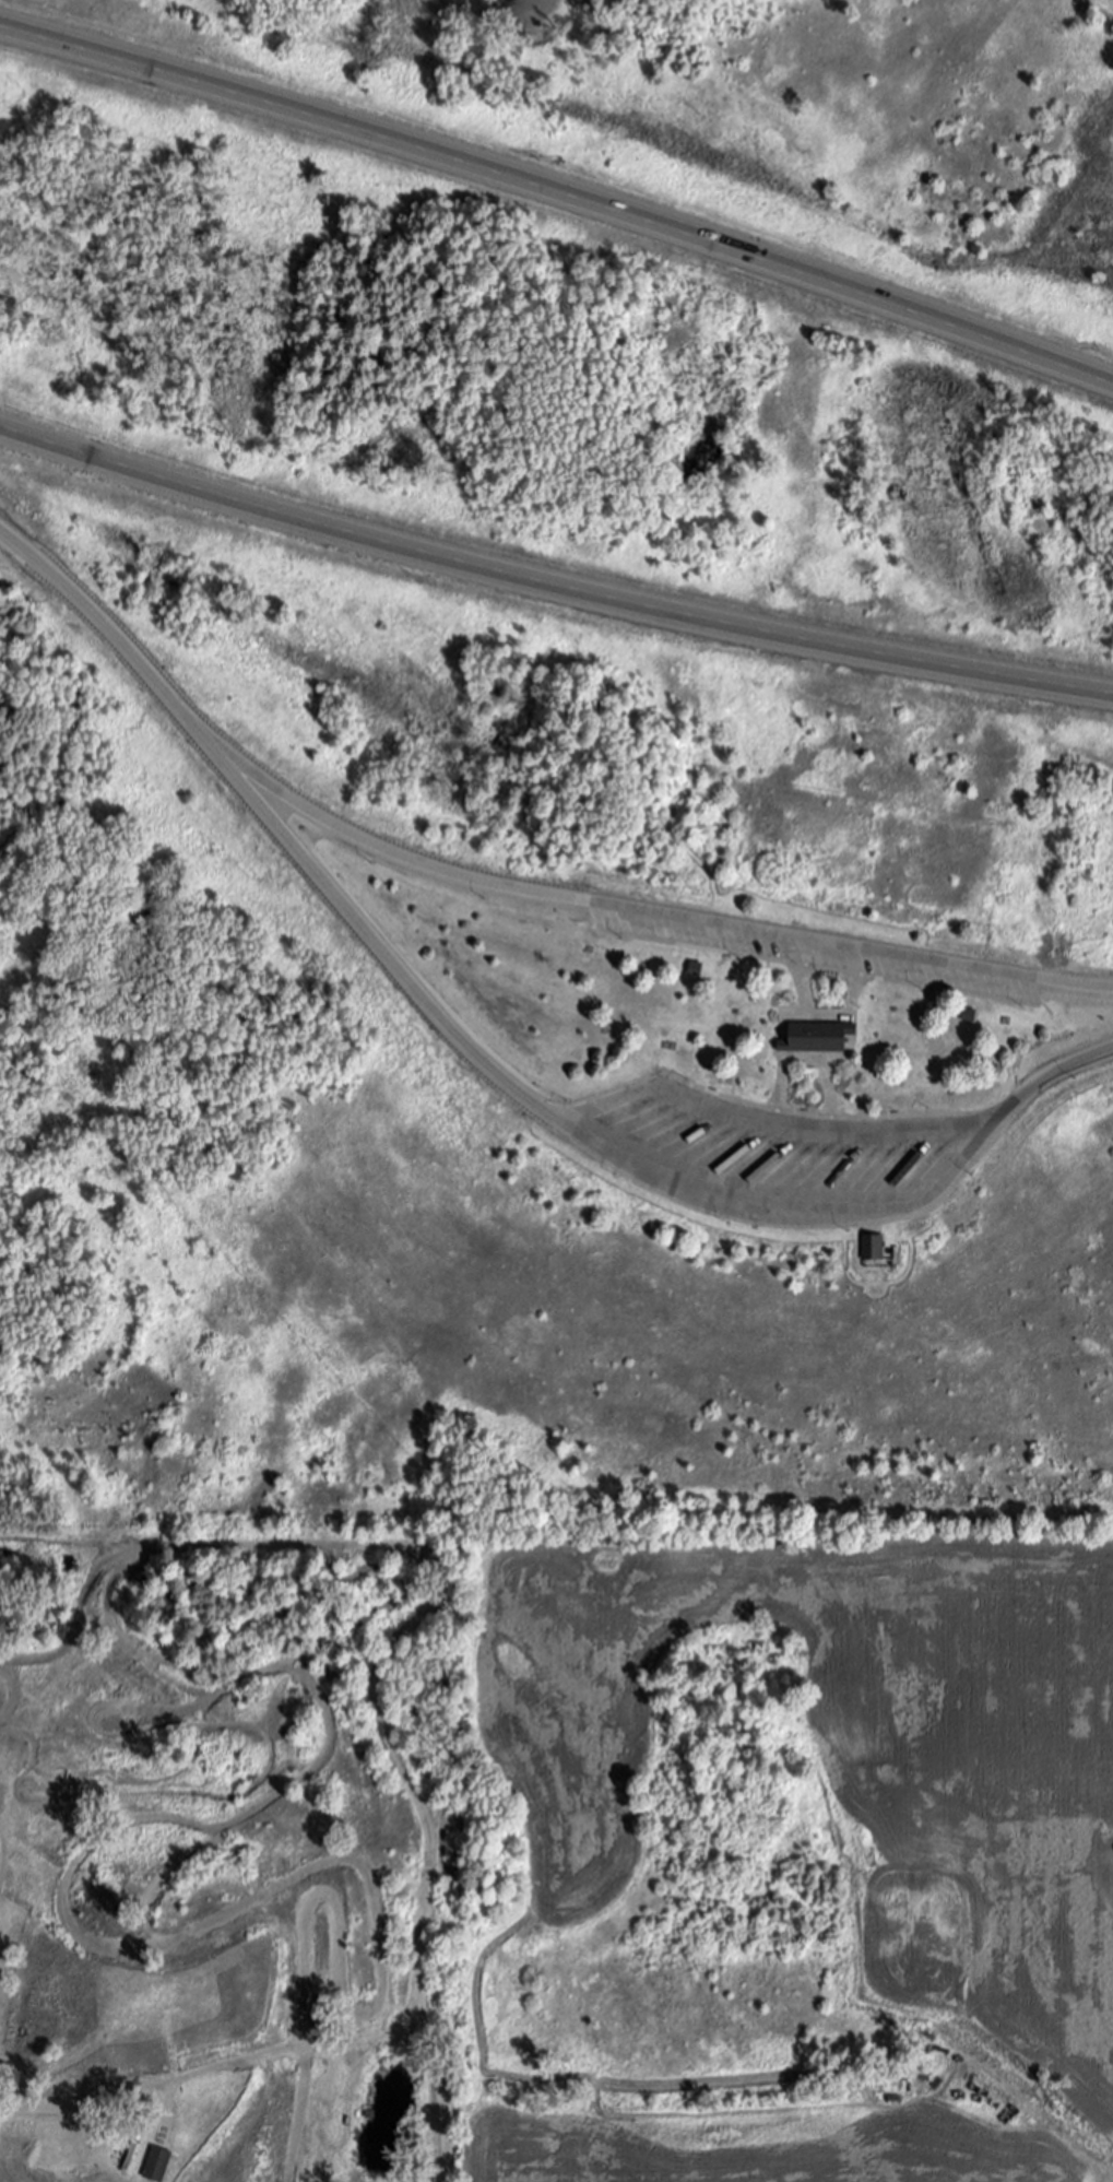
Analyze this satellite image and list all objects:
road: (560, 188)
road: (550, 576)
road: (119, 635)
road: (656, 917)
parking lot: (830, 964)
building: (821, 1036)
road: (686, 1089)
road: (919, 1123)
parking lot: (782, 1153)
road: (619, 1155)
building: (873, 1248)
building: (159, 2165)
road: (1110, 2178)

